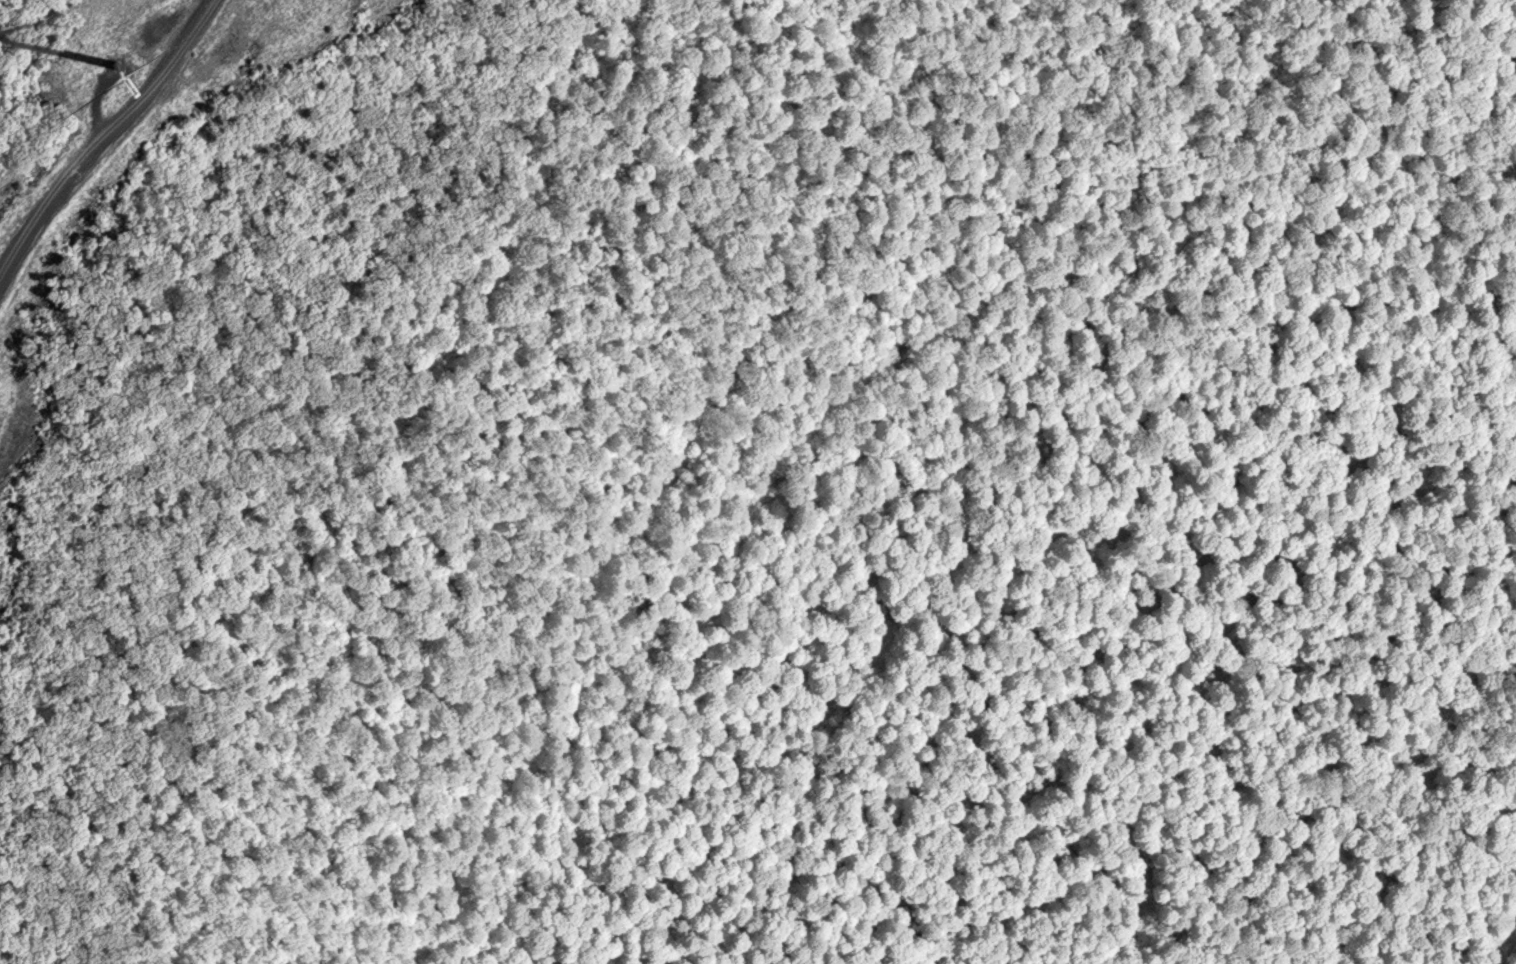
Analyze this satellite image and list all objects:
wind turbine: (117, 63)
road: (110, 140)
road: (1502, 941)

